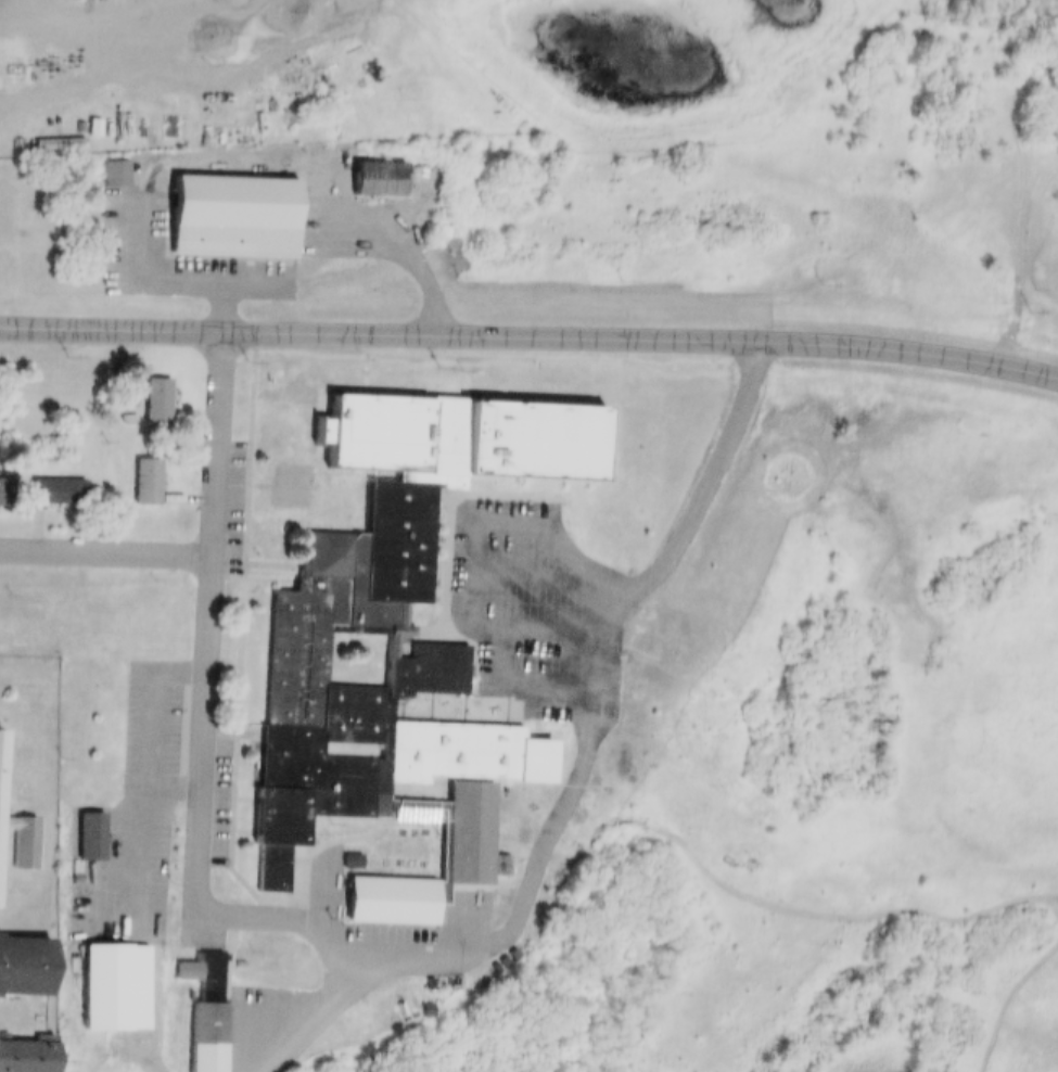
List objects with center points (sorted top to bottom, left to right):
road: (183, 66)
building: (88, 116)
building: (53, 132)
building: (60, 142)
building: (109, 163)
building: (371, 167)
building: (116, 173)
building: (226, 205)
road: (277, 273)
road: (218, 298)
road: (530, 330)
building: (152, 390)
building: (432, 458)
building: (142, 470)
building: (288, 476)
building: (52, 481)
building: (5, 492)
building: (61, 492)
road: (472, 538)
road: (107, 546)
road: (530, 566)
road: (212, 617)
road: (510, 676)
building: (643, 685)
building: (350, 712)
road: (160, 718)
road: (568, 768)
building: (458, 819)
building: (84, 825)
building: (24, 847)
building: (180, 959)
building: (275, 974)
building: (98, 975)
road: (311, 1011)
building: (199, 1030)

